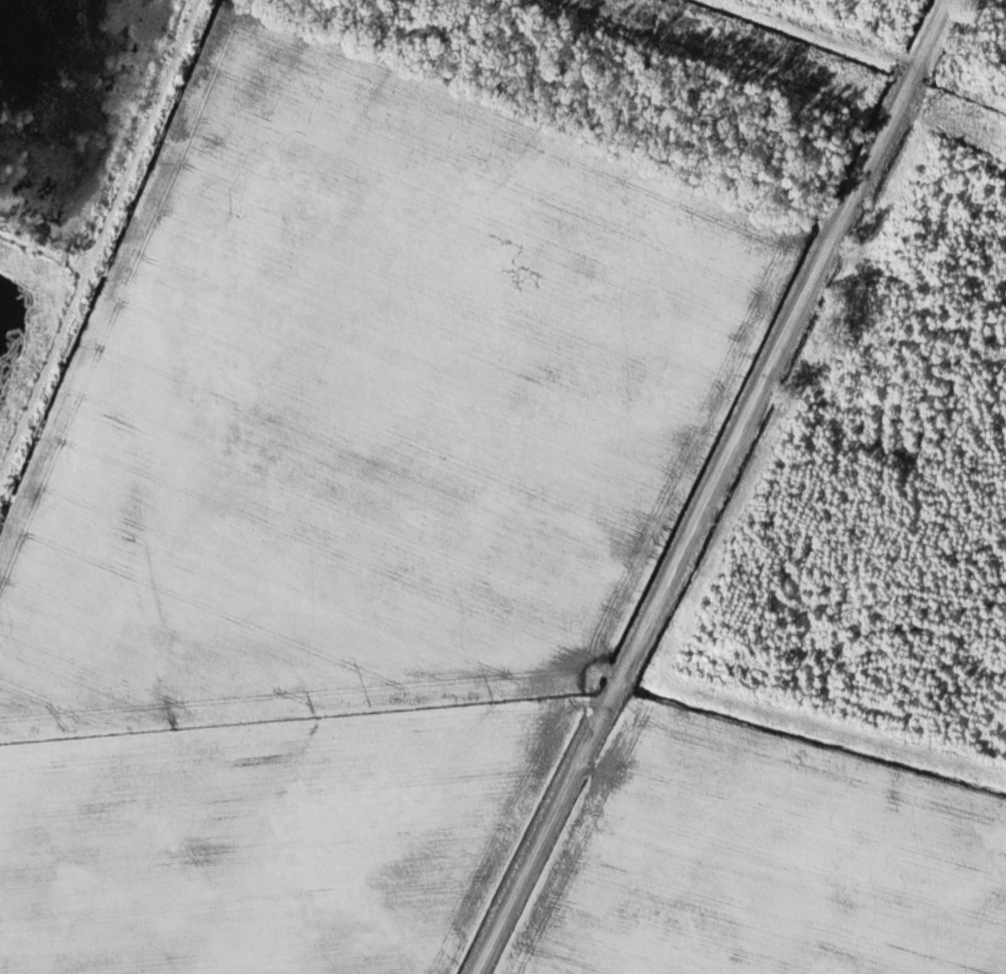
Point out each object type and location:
power tower: (929, 103)
road: (712, 486)

